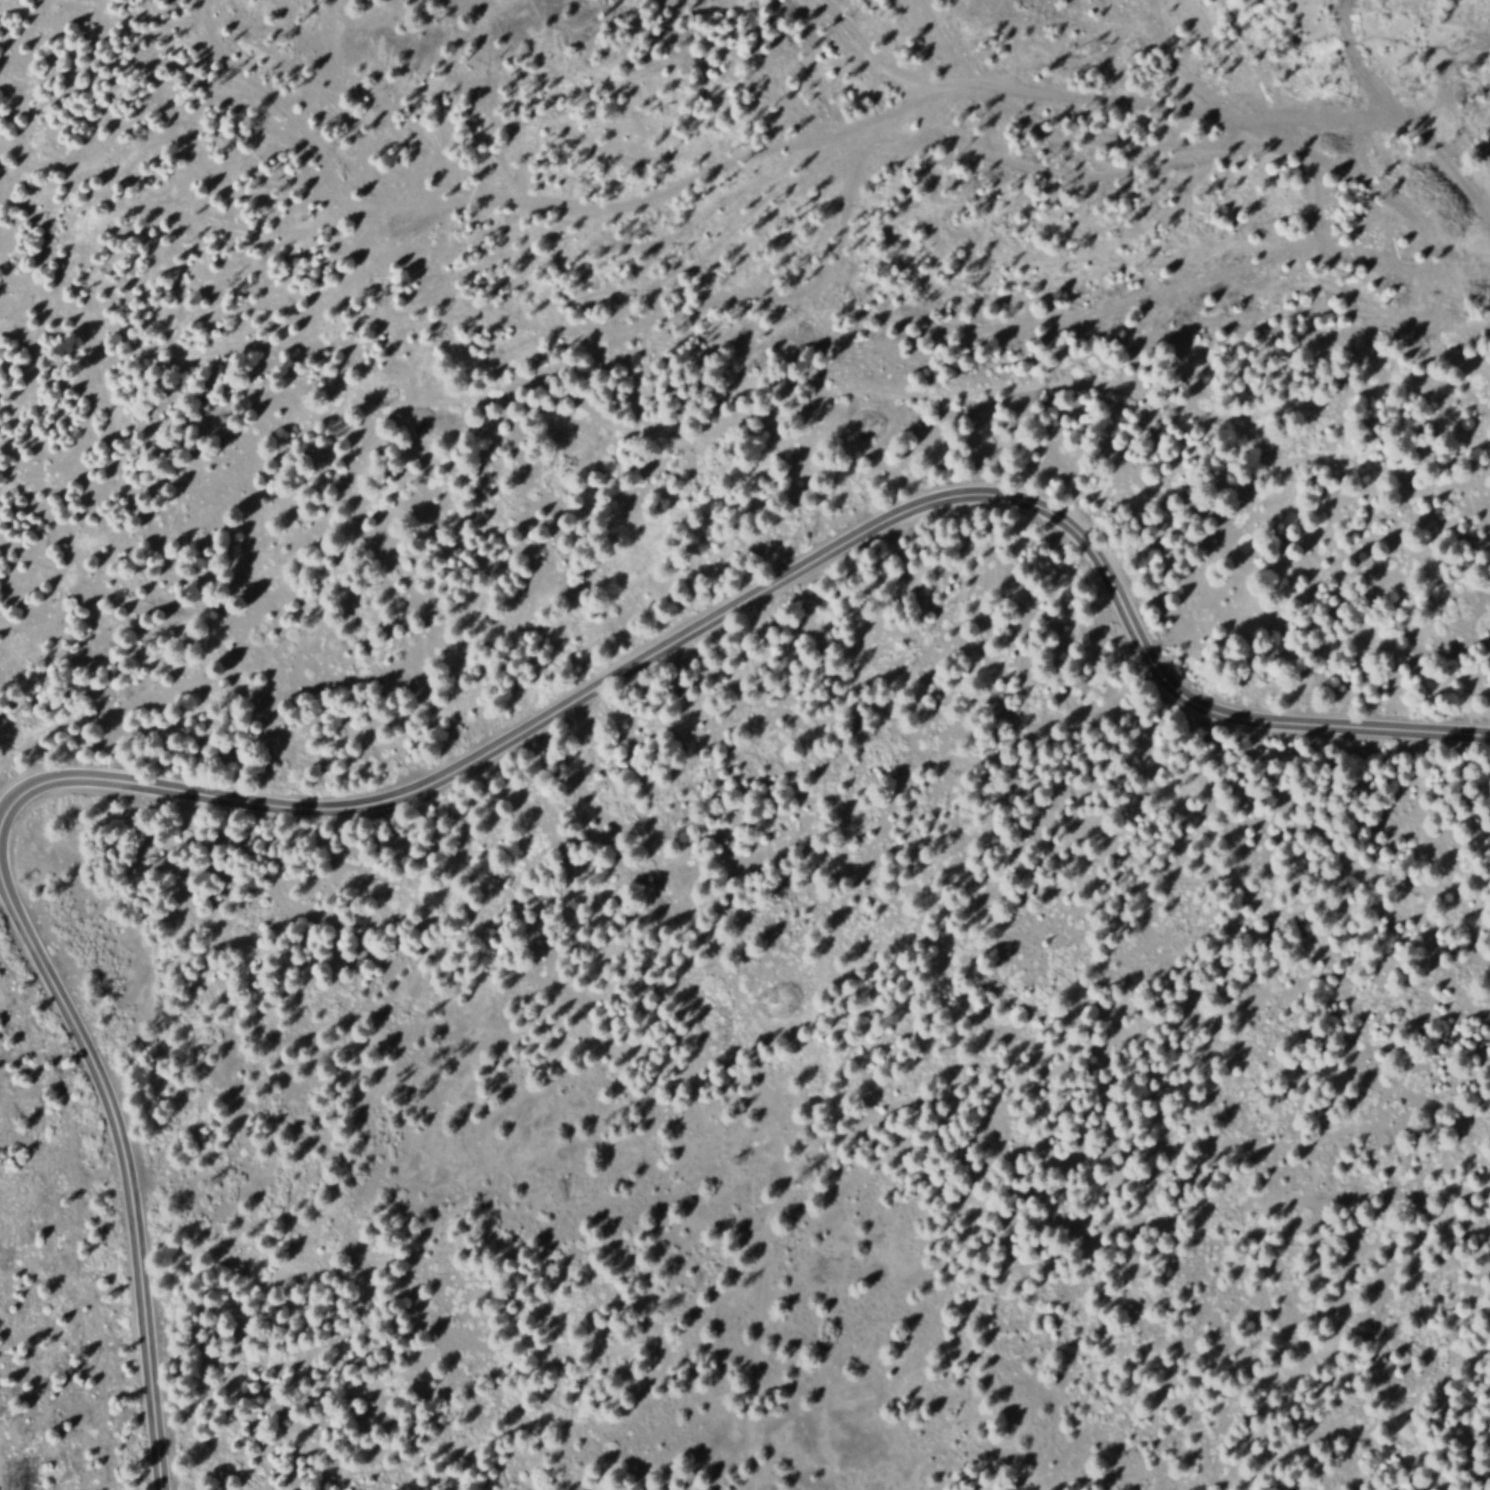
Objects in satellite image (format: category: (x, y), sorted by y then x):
road: (770, 584)
road: (126, 1166)

